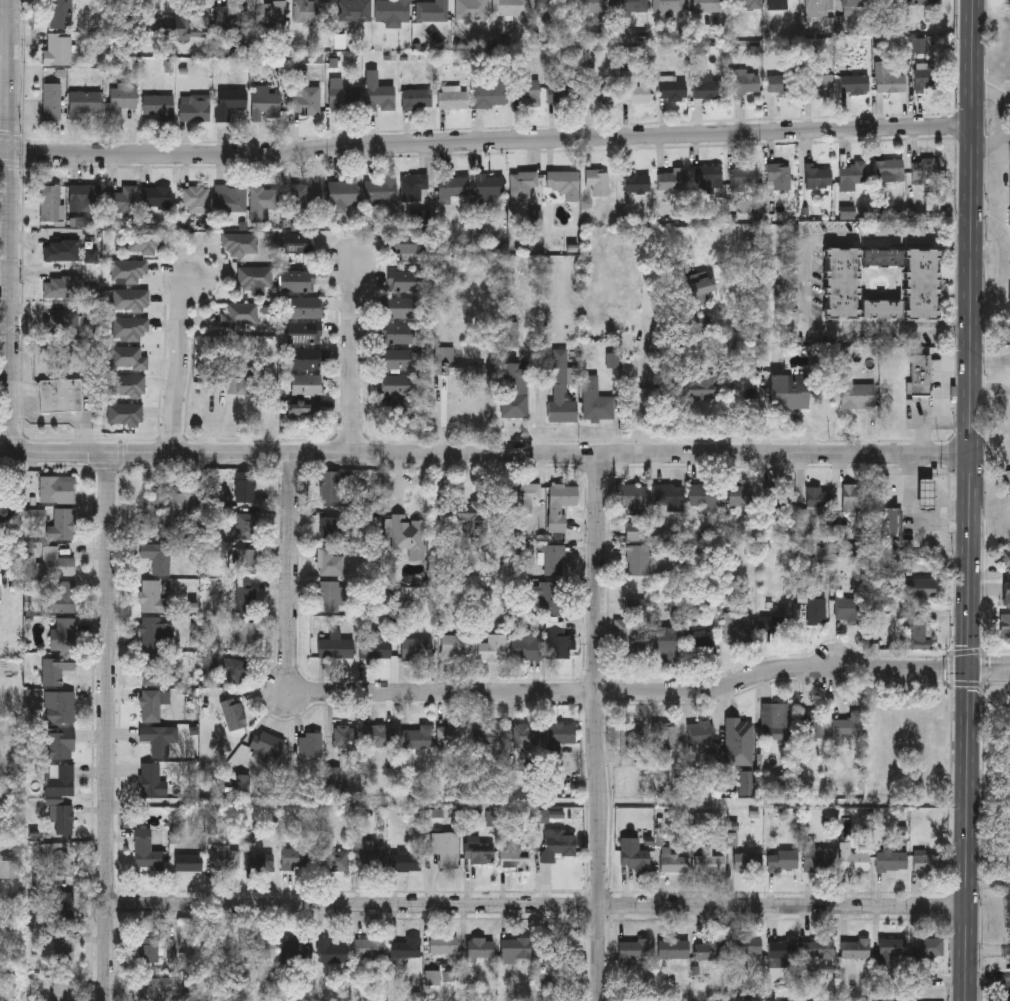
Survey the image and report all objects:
building: (892, 2)
building: (927, 2)
building: (746, 3)
building: (856, 3)
building: (709, 5)
building: (778, 5)
building: (630, 6)
building: (669, 6)
building: (510, 7)
building: (589, 7)
building: (819, 8)
building: (356, 10)
building: (472, 10)
building: (312, 11)
building: (393, 11)
building: (432, 11)
building: (269, 12)
building: (61, 14)
building: (231, 16)
building: (197, 19)
building: (59, 49)
building: (889, 77)
building: (924, 77)
building: (744, 81)
building: (784, 83)
building: (855, 83)
building: (704, 85)
building: (818, 86)
building: (635, 87)
building: (600, 89)
building: (672, 89)
building: (526, 91)
building: (378, 92)
building: (490, 92)
building: (563, 92)
building: (343, 93)
road: (6, 94)
road: (1007, 95)
building: (123, 97)
building: (453, 97)
building: (417, 98)
building: (306, 99)
building: (52, 101)
building: (229, 102)
building: (265, 102)
building: (85, 104)
building: (158, 104)
building: (195, 109)
road: (1003, 117)
road: (1006, 135)
road: (487, 140)
building: (890, 168)
building: (926, 170)
building: (852, 173)
building: (780, 174)
building: (744, 175)
building: (708, 176)
building: (819, 176)
building: (671, 179)
building: (598, 181)
building: (636, 181)
building: (523, 182)
building: (564, 183)
building: (414, 186)
building: (452, 186)
building: (489, 187)
building: (381, 190)
building: (342, 192)
building: (86, 196)
building: (306, 196)
building: (156, 198)
building: (122, 199)
building: (196, 199)
building: (231, 199)
building: (263, 201)
building: (50, 202)
building: (420, 218)
road: (12, 225)
building: (144, 242)
building: (298, 242)
building: (407, 243)
building: (241, 244)
building: (61, 250)
building: (883, 259)
road: (1009, 262)
building: (128, 271)
building: (256, 277)
building: (297, 281)
building: (405, 281)
road: (805, 284)
building: (843, 284)
building: (923, 284)
building: (62, 287)
building: (702, 289)
building: (131, 300)
building: (307, 307)
building: (399, 307)
building: (883, 309)
building: (242, 314)
building: (61, 325)
building: (131, 328)
building: (304, 333)
building: (396, 333)
road: (354, 356)
building: (128, 358)
building: (306, 359)
building: (395, 359)
road: (182, 361)
building: (457, 365)
building: (920, 375)
road: (648, 377)
building: (237, 379)
building: (306, 384)
building: (127, 385)
building: (395, 386)
building: (701, 386)
building: (514, 391)
building: (791, 392)
building: (61, 395)
building: (858, 396)
building: (596, 401)
building: (304, 408)
building: (397, 410)
building: (125, 414)
road: (493, 450)
road: (6, 451)
road: (909, 473)
building: (1009, 482)
building: (330, 486)
building: (55, 487)
building: (245, 487)
building: (926, 494)
building: (704, 495)
building: (740, 495)
building: (778, 496)
building: (524, 497)
building: (632, 497)
building: (669, 497)
building: (818, 497)
road: (927, 497)
building: (181, 498)
building: (854, 498)
road: (974, 500)
building: (561, 504)
road: (953, 508)
building: (154, 509)
building: (7, 514)
building: (473, 518)
building: (888, 523)
building: (62, 525)
building: (246, 526)
building: (331, 528)
building: (637, 531)
building: (408, 536)
building: (157, 557)
building: (1006, 559)
building: (554, 560)
building: (638, 560)
building: (246, 561)
building: (329, 562)
building: (57, 563)
road: (289, 580)
building: (916, 588)
building: (1006, 594)
building: (246, 596)
building: (332, 596)
building: (152, 597)
building: (551, 597)
building: (62, 598)
building: (635, 606)
building: (812, 610)
building: (848, 610)
building: (774, 624)
building: (740, 627)
building: (1005, 627)
building: (918, 630)
building: (153, 633)
building: (64, 634)
building: (244, 635)
building: (629, 638)
building: (707, 640)
building: (558, 643)
building: (335, 646)
building: (455, 646)
building: (375, 648)
building: (493, 648)
building: (417, 649)
building: (526, 649)
building: (664, 649)
building: (56, 669)
building: (150, 669)
traffic signals: (972, 669)
road: (991, 669)
building: (230, 670)
road: (648, 695)
building: (151, 706)
building: (60, 707)
building: (233, 715)
building: (775, 721)
road: (108, 725)
road: (597, 725)
building: (813, 726)
building: (847, 727)
building: (736, 731)
building: (702, 732)
building: (561, 733)
building: (491, 734)
building: (667, 735)
building: (345, 736)
building: (379, 736)
building: (452, 738)
building: (525, 738)
building: (159, 739)
building: (416, 739)
building: (631, 740)
building: (58, 743)
building: (310, 744)
building: (266, 745)
building: (59, 779)
building: (152, 780)
building: (746, 783)
building: (781, 784)
building: (61, 820)
building: (559, 844)
building: (446, 848)
building: (146, 851)
building: (478, 852)
building: (370, 855)
building: (516, 857)
building: (296, 859)
building: (635, 859)
building: (820, 859)
building: (853, 859)
building: (57, 860)
building: (226, 860)
building: (260, 861)
building: (334, 861)
building: (672, 861)
building: (782, 861)
building: (891, 861)
building: (709, 862)
building: (747, 862)
building: (931, 862)
building: (188, 863)
building: (406, 863)
building: (8, 869)
road: (990, 875)
building: (62, 906)
road: (538, 906)
building: (443, 945)
building: (749, 946)
building: (260, 947)
building: (893, 947)
building: (929, 947)
road: (989, 947)
building: (224, 948)
building: (299, 948)
building: (407, 948)
building: (480, 948)
building: (516, 948)
building: (370, 949)
building: (634, 949)
building: (673, 949)
building: (710, 949)
building: (819, 949)
building: (64, 950)
building: (148, 950)
building: (855, 950)
building: (332, 951)
building: (553, 951)
building: (782, 954)
road: (989, 976)
building: (63, 989)
building: (152, 989)

